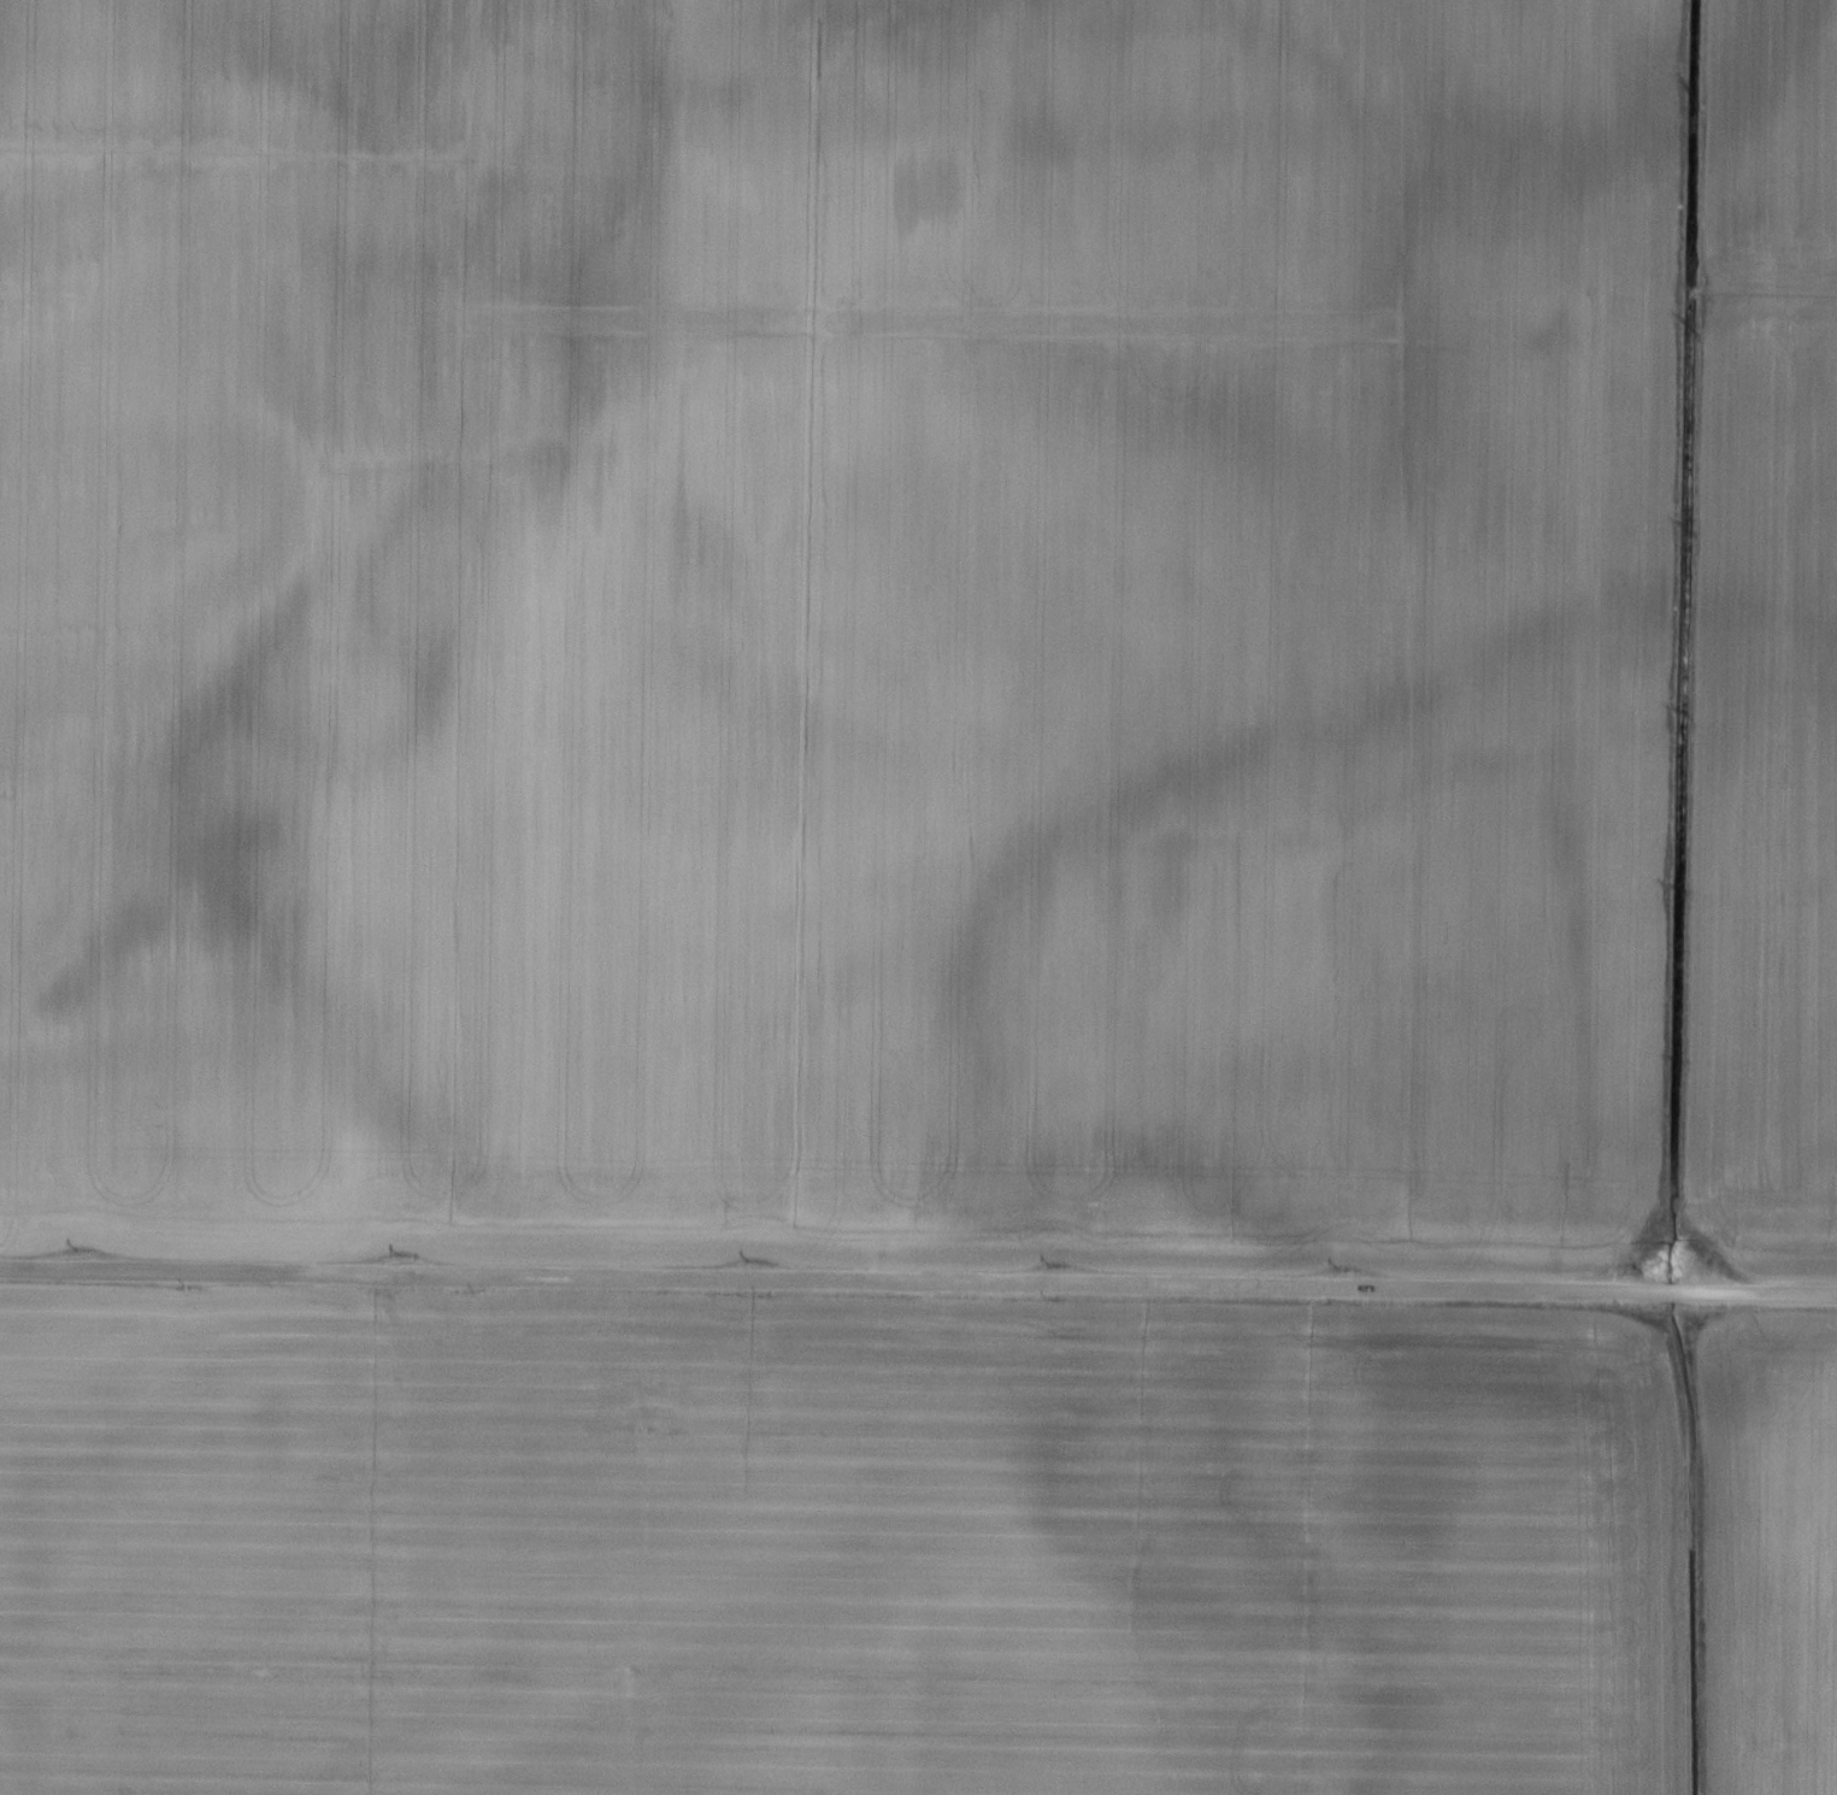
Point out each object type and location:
road: (918, 1276)

